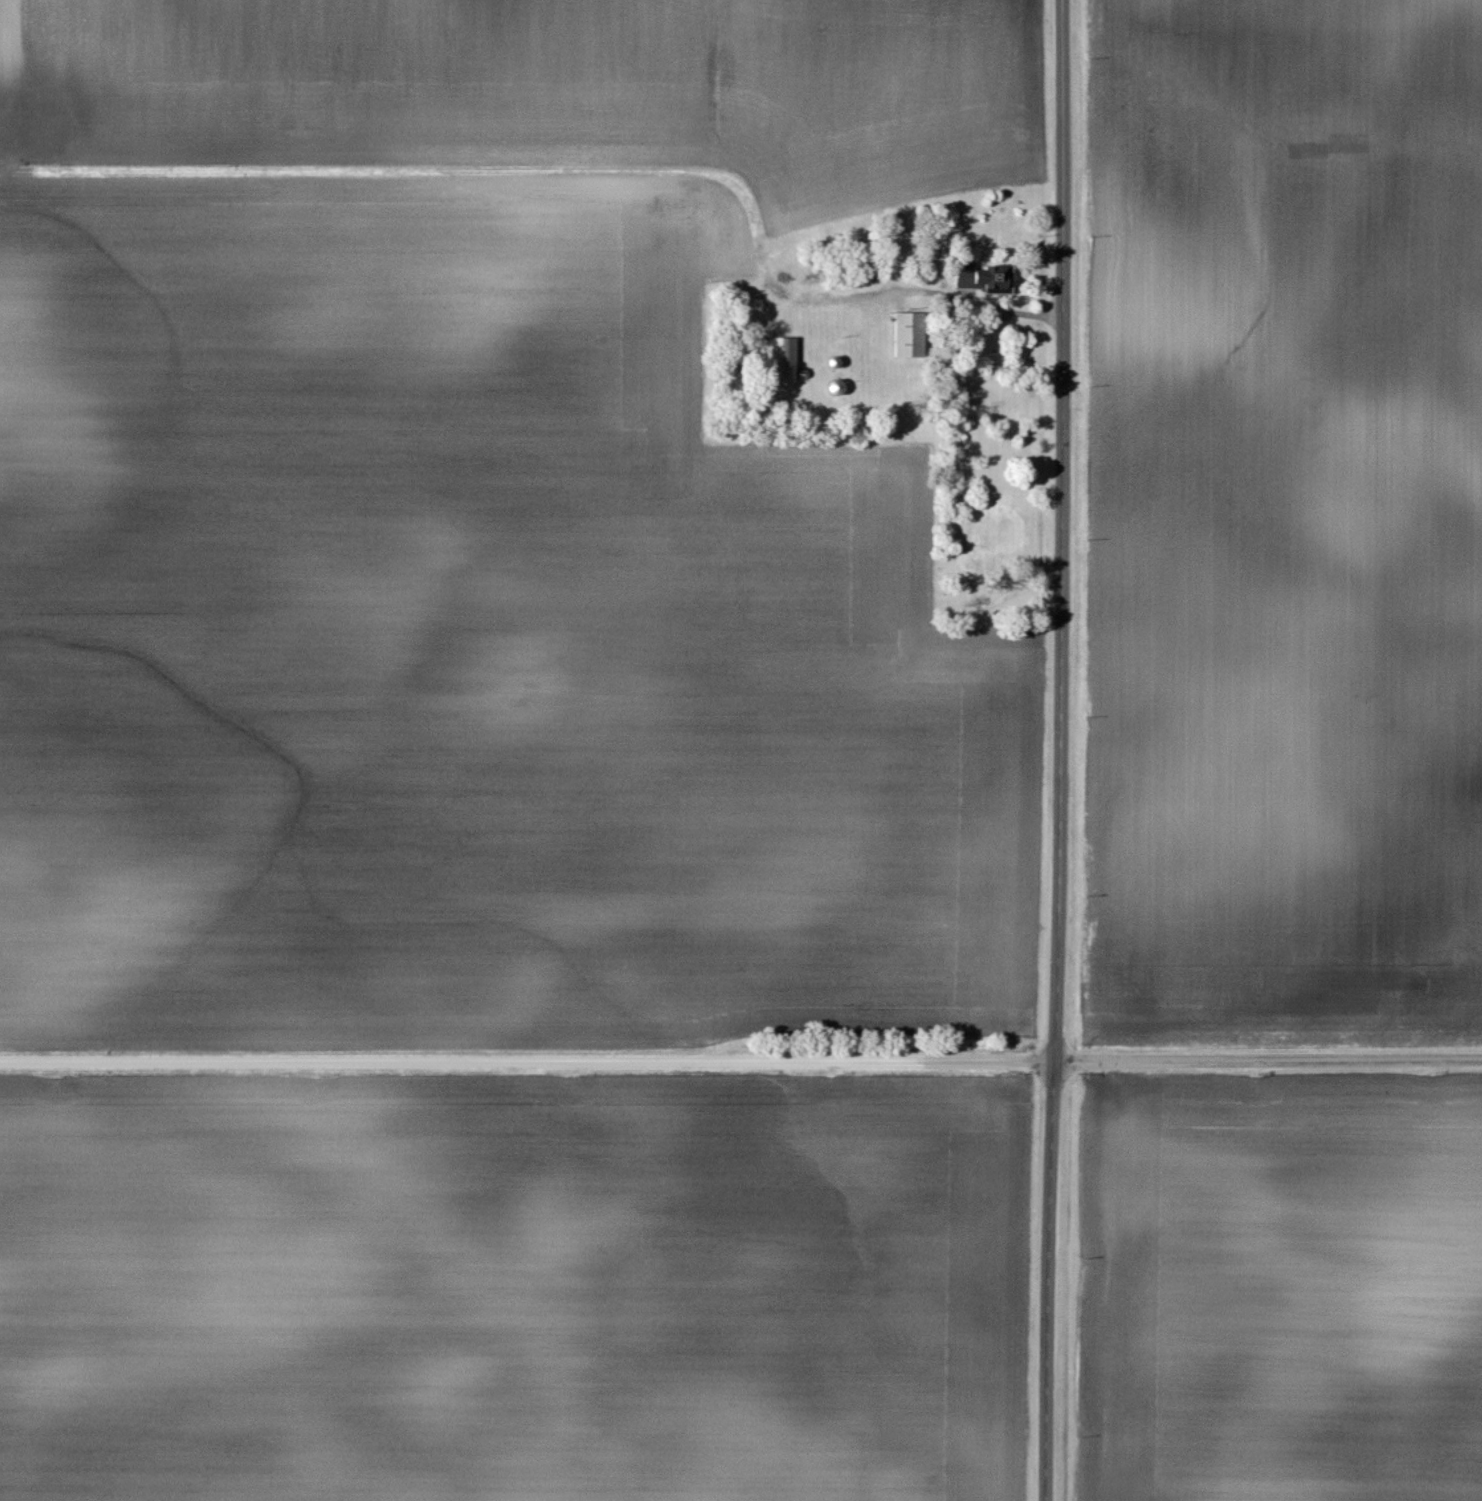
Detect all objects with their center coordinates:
road: (983, 304)
road: (1063, 529)
road: (1267, 1057)
road: (526, 1060)
road: (1050, 1279)

